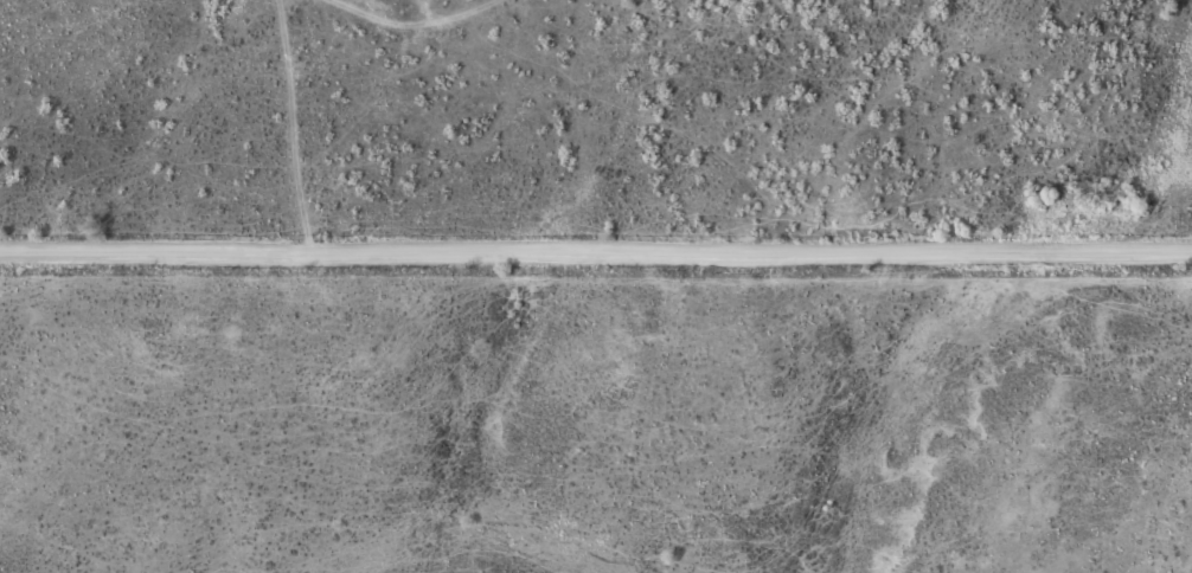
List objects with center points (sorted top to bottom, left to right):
road: (596, 251)

